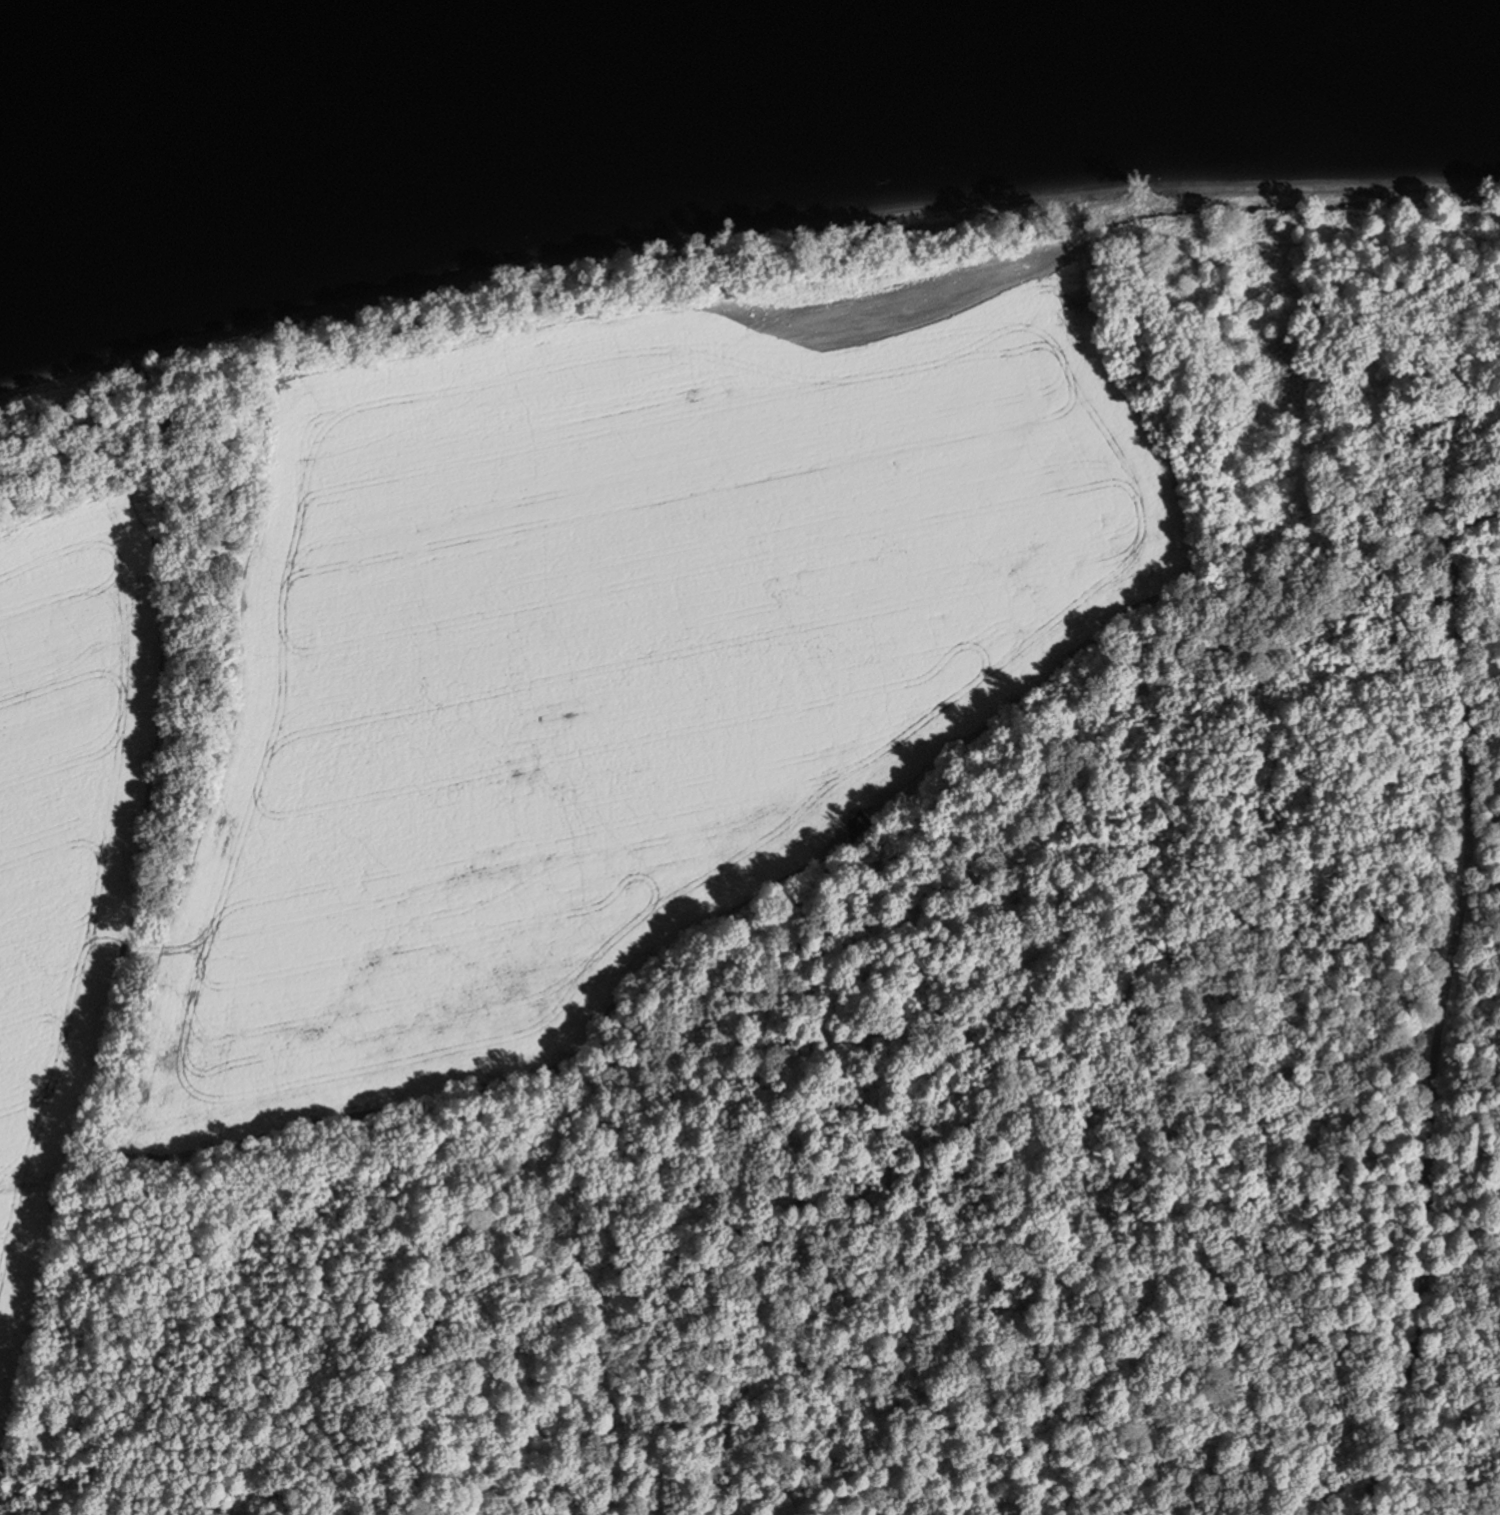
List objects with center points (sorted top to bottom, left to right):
road: (1445, 1008)

